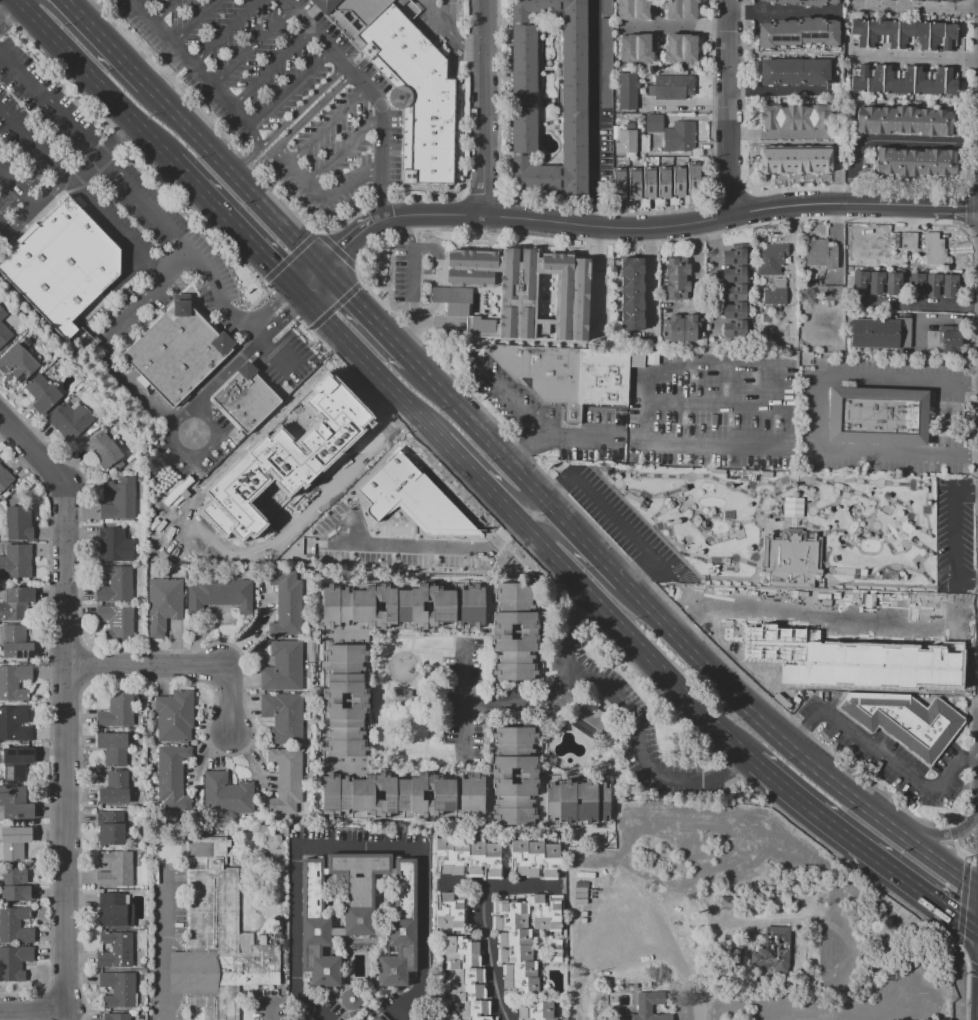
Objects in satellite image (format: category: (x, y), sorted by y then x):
road: (135, 0)
building: (941, 0)
road: (41, 1)
building: (804, 2)
road: (283, 6)
building: (607, 7)
building: (633, 10)
building: (681, 10)
road: (914, 10)
road: (166, 11)
road: (782, 11)
building: (349, 12)
road: (10, 13)
road: (196, 21)
road: (676, 28)
road: (226, 31)
building: (798, 32)
building: (858, 32)
building: (881, 33)
road: (451, 34)
building: (911, 34)
building: (934, 35)
building: (948, 36)
road: (174, 41)
road: (103, 42)
road: (252, 47)
building: (681, 48)
building: (636, 50)
road: (917, 57)
building: (606, 63)
road: (272, 68)
building: (793, 71)
building: (858, 78)
building: (873, 78)
building: (896, 79)
building: (926, 80)
road: (95, 81)
building: (949, 81)
building: (672, 87)
building: (524, 88)
road: (291, 90)
building: (627, 91)
building: (414, 92)
road: (778, 92)
parking lot: (284, 93)
road: (373, 99)
road: (235, 103)
road: (484, 107)
road: (686, 107)
road: (728, 108)
road: (592, 113)
building: (794, 117)
building: (905, 120)
road: (287, 121)
building: (653, 123)
road: (328, 127)
road: (296, 129)
road: (781, 135)
building: (679, 136)
road: (255, 138)
building: (624, 140)
road: (881, 141)
road: (346, 150)
road: (103, 154)
building: (792, 159)
building: (915, 161)
road: (232, 175)
building: (694, 179)
building: (679, 182)
building: (649, 184)
building: (664, 184)
building: (619, 185)
building: (635, 185)
road: (17, 187)
road: (812, 189)
road: (322, 198)
road: (32, 207)
road: (730, 215)
road: (393, 217)
parking lot: (126, 225)
road: (235, 226)
road: (407, 231)
building: (909, 240)
building: (934, 249)
road: (187, 251)
building: (819, 253)
building: (734, 256)
building: (771, 258)
building: (62, 264)
building: (677, 266)
traffic signals: (321, 268)
parking lot: (408, 274)
building: (734, 274)
road: (427, 277)
road: (716, 277)
road: (600, 278)
road: (309, 279)
building: (859, 281)
building: (876, 282)
building: (892, 283)
building: (915, 283)
building: (932, 284)
building: (949, 285)
road: (414, 287)
building: (676, 288)
traffic signals: (297, 291)
building: (518, 292)
building: (734, 292)
building: (776, 292)
road: (440, 293)
building: (631, 293)
building: (829, 293)
road: (919, 305)
road: (269, 308)
building: (734, 310)
building: (2, 314)
road: (230, 316)
road: (368, 316)
road: (283, 320)
road: (442, 323)
building: (682, 328)
building: (734, 329)
building: (881, 333)
building: (4, 334)
building: (932, 339)
building: (950, 339)
building: (176, 352)
road: (106, 353)
road: (337, 359)
building: (17, 362)
road: (443, 364)
road: (370, 367)
road: (760, 367)
building: (572, 374)
road: (225, 376)
road: (973, 378)
building: (36, 386)
building: (247, 399)
road: (509, 399)
building: (46, 400)
road: (649, 402)
road: (720, 404)
road: (818, 415)
building: (879, 417)
building: (69, 419)
road: (211, 428)
road: (260, 431)
road: (666, 441)
building: (102, 449)
road: (527, 450)
road: (497, 452)
road: (33, 457)
road: (973, 459)
building: (279, 464)
road: (468, 470)
building: (5, 478)
road: (559, 490)
road: (966, 492)
road: (516, 497)
building: (119, 500)
building: (405, 501)
building: (793, 505)
road: (616, 519)
building: (17, 524)
parking lot: (623, 526)
road: (555, 535)
parking lot: (956, 536)
road: (954, 537)
building: (114, 544)
building: (792, 559)
road: (601, 560)
building: (16, 561)
road: (643, 574)
road: (965, 582)
building: (114, 583)
building: (219, 594)
building: (286, 601)
building: (16, 603)
building: (162, 604)
building: (403, 606)
building: (116, 621)
road: (621, 629)
building: (528, 631)
building: (16, 643)
building: (858, 662)
building: (283, 666)
road: (184, 668)
building: (14, 683)
road: (557, 685)
road: (464, 697)
building: (358, 700)
building: (398, 700)
building: (117, 711)
building: (283, 716)
building: (173, 717)
building: (589, 720)
building: (905, 721)
building: (15, 724)
road: (639, 735)
road: (795, 735)
building: (112, 748)
road: (790, 748)
road: (66, 751)
road: (883, 755)
parking lot: (892, 757)
road: (967, 759)
building: (16, 762)
road: (735, 768)
building: (172, 778)
building: (501, 778)
building: (287, 781)
building: (114, 788)
building: (227, 794)
building: (402, 795)
building: (560, 801)
building: (15, 803)
building: (110, 827)
road: (934, 835)
building: (276, 838)
building: (14, 842)
road: (863, 848)
road: (359, 852)
building: (443, 856)
building: (460, 857)
building: (518, 857)
building: (476, 859)
building: (534, 859)
building: (493, 860)
building: (550, 861)
building: (115, 868)
building: (14, 884)
road: (500, 886)
building: (358, 887)
building: (509, 908)
building: (114, 911)
building: (449, 913)
building: (547, 913)
building: (509, 922)
building: (15, 925)
building: (400, 925)
building: (316, 928)
building: (513, 937)
building: (218, 938)
road: (164, 944)
building: (461, 944)
building: (116, 949)
building: (772, 950)
building: (557, 951)
road: (489, 954)
building: (516, 954)
building: (461, 960)
building: (14, 962)
building: (522, 970)
building: (466, 976)
building: (521, 986)
building: (118, 989)
building: (467, 992)
building: (351, 999)
building: (645, 1007)
building: (471, 1008)
road: (33, 1009)
building: (538, 1010)
road: (272, 1011)
building: (117, 1016)
building: (373, 1017)
building: (475, 1018)
building: (336, 1019)
building: (541, 1019)

